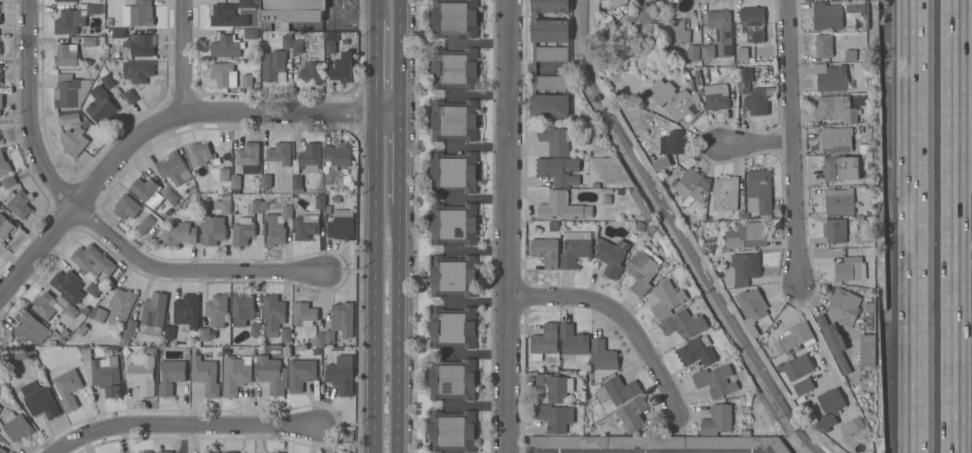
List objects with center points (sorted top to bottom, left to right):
building: (66, 1)
road: (376, 11)
building: (290, 12)
building: (138, 13)
building: (232, 13)
building: (0, 15)
building: (455, 18)
building: (828, 18)
building: (75, 19)
building: (643, 20)
building: (753, 22)
building: (108, 23)
road: (346, 24)
building: (615, 27)
building: (718, 29)
building: (677, 31)
building: (90, 42)
building: (133, 42)
building: (286, 42)
building: (232, 44)
building: (330, 44)
building: (824, 46)
building: (298, 48)
building: (693, 52)
building: (707, 52)
building: (743, 54)
building: (66, 55)
road: (182, 55)
building: (850, 55)
road: (399, 57)
building: (549, 59)
building: (274, 66)
building: (342, 68)
road: (376, 68)
building: (454, 69)
building: (1, 71)
building: (139, 72)
building: (312, 73)
building: (223, 74)
building: (745, 75)
building: (831, 77)
building: (109, 82)
building: (247, 82)
building: (70, 91)
building: (130, 97)
building: (716, 97)
building: (675, 101)
building: (756, 103)
building: (0, 104)
building: (101, 105)
building: (835, 109)
road: (32, 111)
building: (69, 119)
building: (454, 120)
road: (163, 122)
building: (557, 139)
building: (836, 139)
building: (74, 141)
road: (794, 142)
building: (672, 143)
road: (757, 144)
building: (199, 154)
building: (248, 154)
building: (279, 155)
building: (310, 157)
building: (337, 157)
road: (398, 160)
building: (662, 163)
building: (4, 165)
building: (174, 169)
building: (840, 169)
building: (559, 171)
building: (345, 172)
building: (454, 172)
building: (225, 174)
building: (345, 178)
building: (328, 181)
building: (8, 182)
building: (235, 182)
building: (266, 182)
building: (297, 182)
building: (346, 185)
building: (693, 186)
building: (325, 191)
building: (153, 192)
building: (759, 192)
building: (726, 193)
building: (337, 200)
building: (839, 201)
building: (321, 202)
building: (18, 203)
building: (224, 204)
building: (127, 207)
building: (257, 207)
building: (561, 207)
building: (287, 212)
building: (453, 224)
building: (145, 225)
building: (341, 225)
road: (509, 226)
road: (911, 226)
road: (951, 226)
building: (4, 227)
building: (306, 227)
building: (213, 230)
building: (243, 231)
building: (273, 231)
building: (834, 231)
building: (178, 234)
building: (748, 236)
building: (712, 244)
building: (546, 252)
building: (575, 252)
building: (612, 257)
building: (93, 261)
building: (745, 268)
building: (850, 269)
road: (188, 270)
building: (642, 272)
building: (453, 276)
road: (374, 283)
building: (68, 286)
building: (93, 290)
building: (666, 300)
building: (52, 306)
building: (117, 306)
building: (845, 306)
building: (243, 309)
building: (752, 310)
building: (86, 311)
building: (186, 311)
building: (304, 314)
building: (153, 315)
building: (273, 315)
road: (621, 317)
building: (214, 318)
building: (341, 322)
building: (684, 324)
building: (453, 328)
building: (31, 329)
road: (397, 329)
building: (129, 330)
building: (255, 330)
building: (83, 331)
building: (63, 333)
building: (169, 333)
building: (285, 335)
building: (794, 337)
building: (319, 340)
building: (573, 340)
building: (545, 341)
building: (223, 342)
building: (834, 342)
building: (0, 349)
road: (823, 350)
building: (867, 351)
building: (108, 352)
building: (695, 353)
building: (602, 355)
building: (797, 367)
building: (102, 373)
building: (142, 374)
building: (236, 374)
building: (272, 374)
building: (300, 374)
building: (341, 374)
building: (206, 375)
building: (171, 376)
building: (453, 379)
building: (715, 381)
building: (803, 386)
building: (68, 387)
building: (556, 387)
building: (617, 391)
building: (40, 400)
building: (830, 408)
building: (0, 410)
building: (633, 414)
building: (556, 418)
building: (717, 420)
building: (17, 426)
building: (852, 427)
road: (186, 428)
building: (452, 431)
building: (569, 442)
building: (699, 443)
building: (2, 450)
building: (148, 452)
building: (165, 452)
building: (211, 452)
building: (230, 452)
building: (279, 452)

